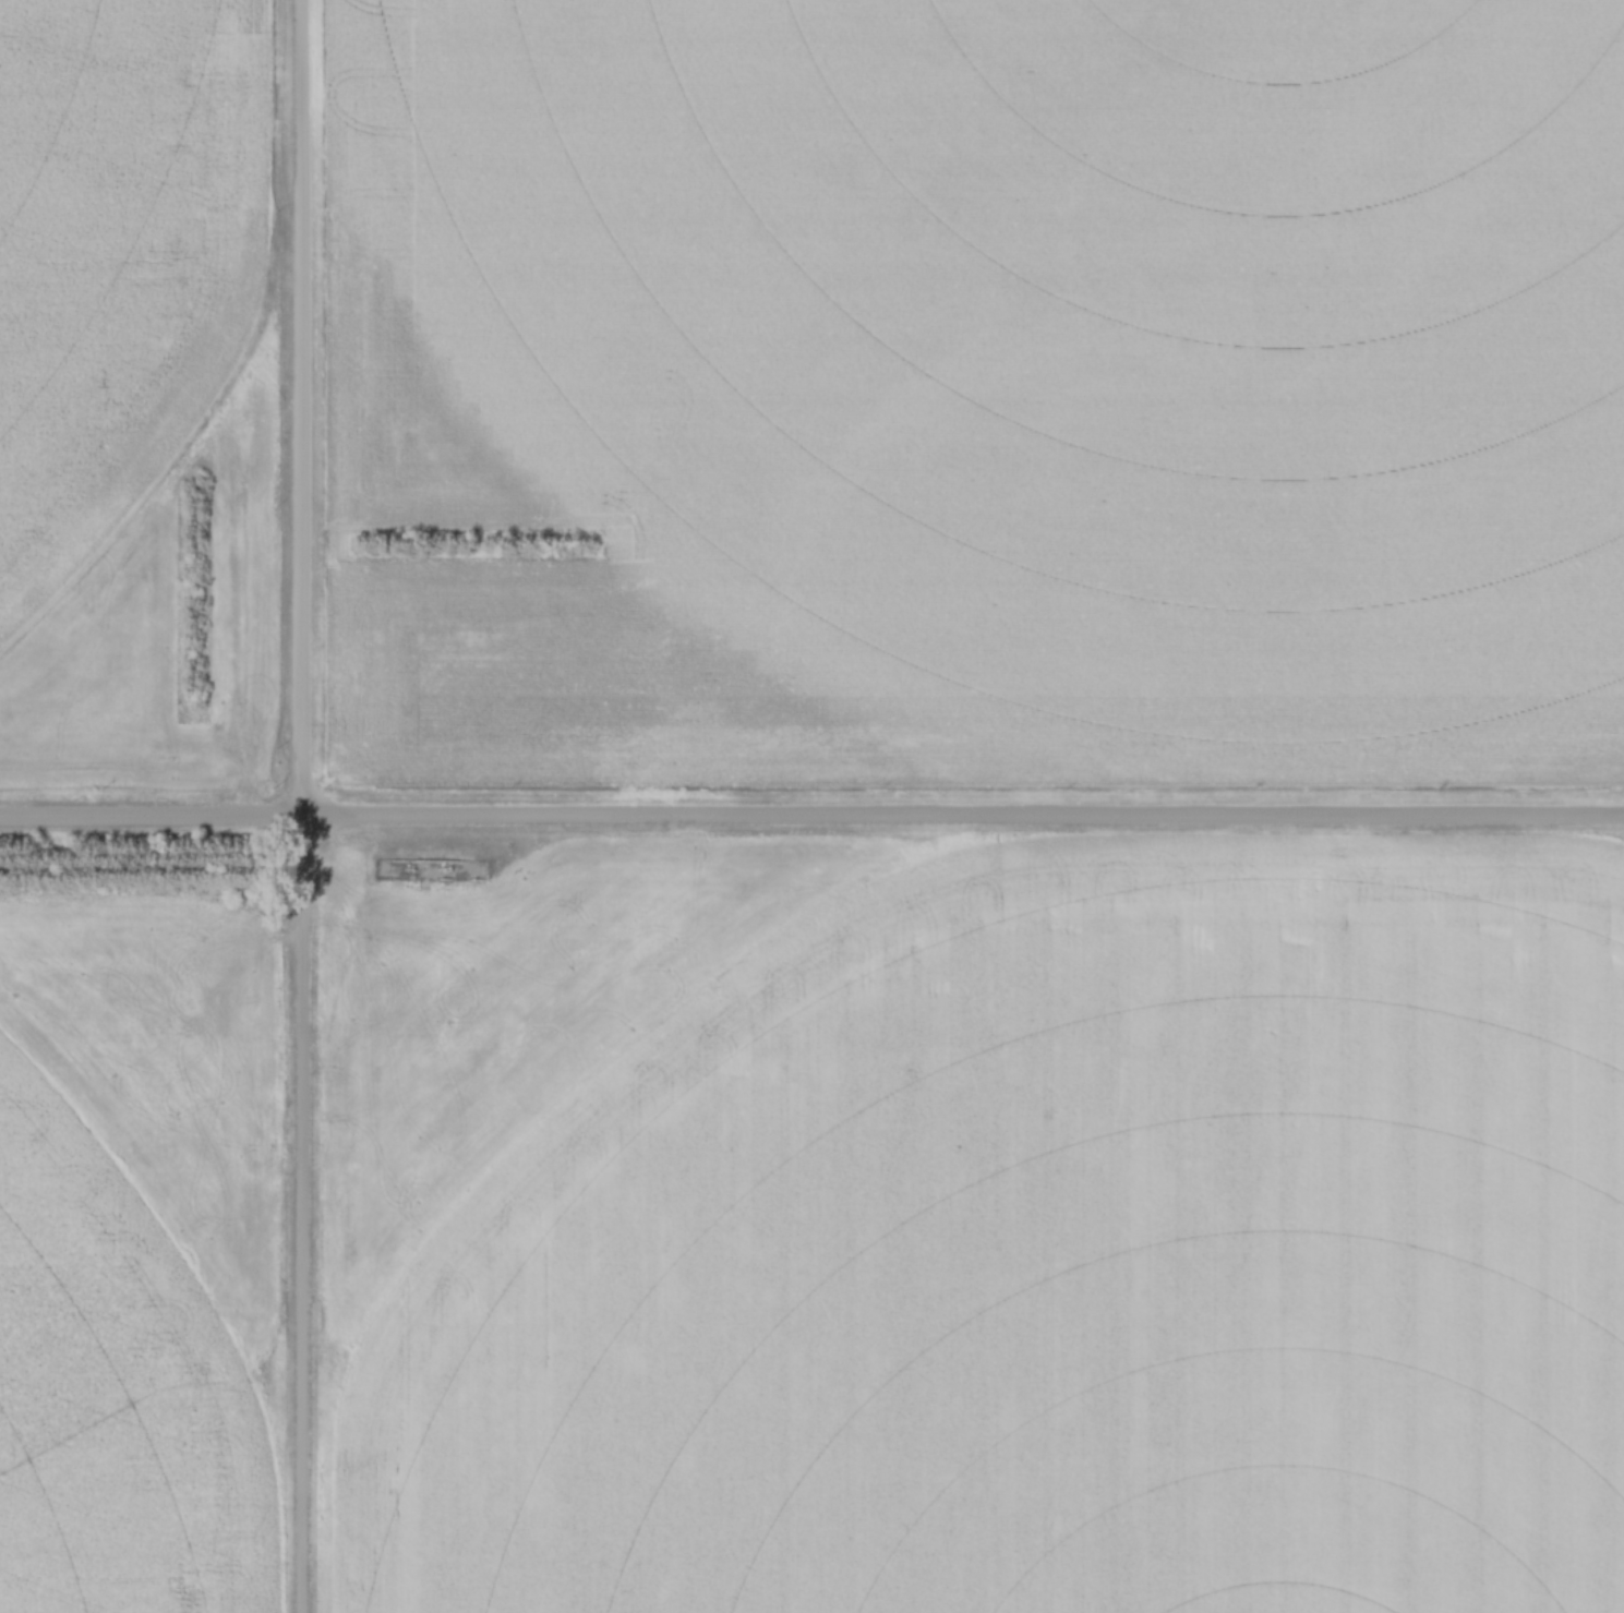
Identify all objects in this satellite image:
road: (303, 806)
road: (811, 821)

